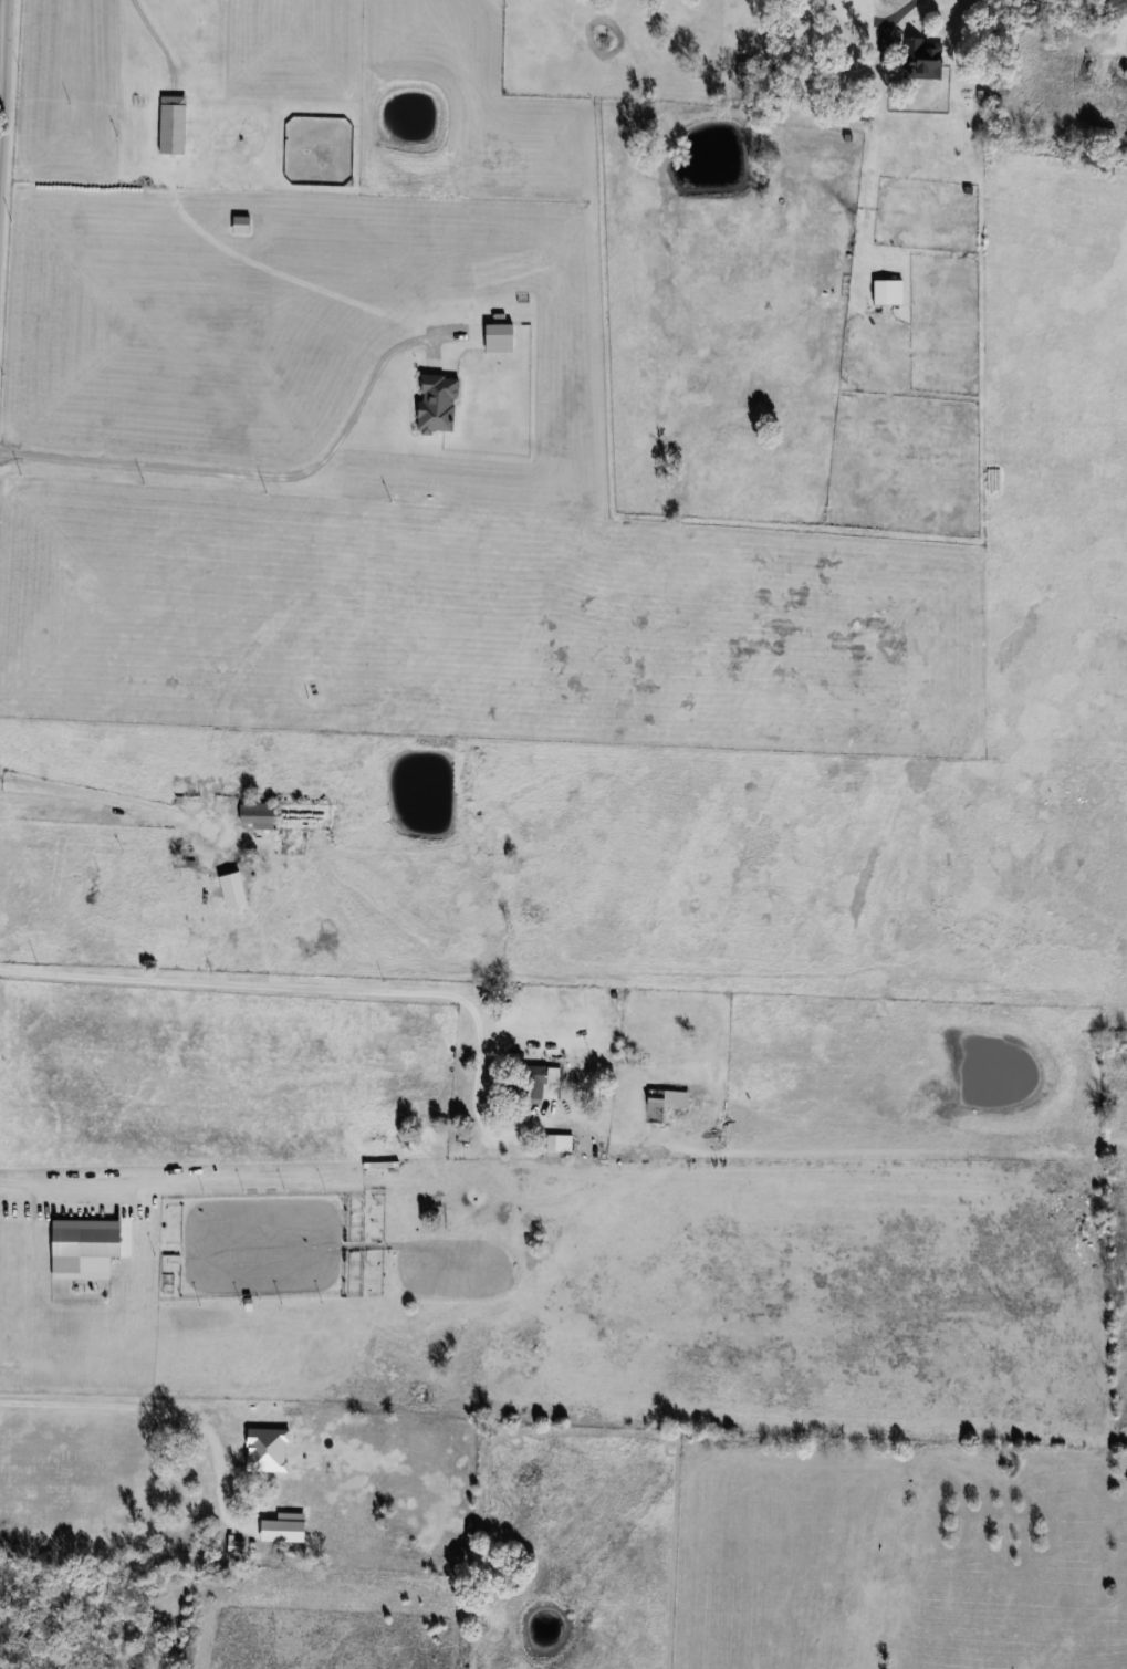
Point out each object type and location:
road: (906, 9)
road: (152, 25)
road: (1125, 30)
building: (923, 59)
road: (3, 77)
building: (174, 124)
building: (241, 223)
building: (889, 292)
road: (253, 473)
road: (109, 801)
building: (258, 815)
building: (92, 883)
road: (296, 984)
building: (542, 1083)
building: (669, 1099)
building: (560, 1144)
building: (102, 1242)
road: (142, 1405)
building: (226, 1458)

